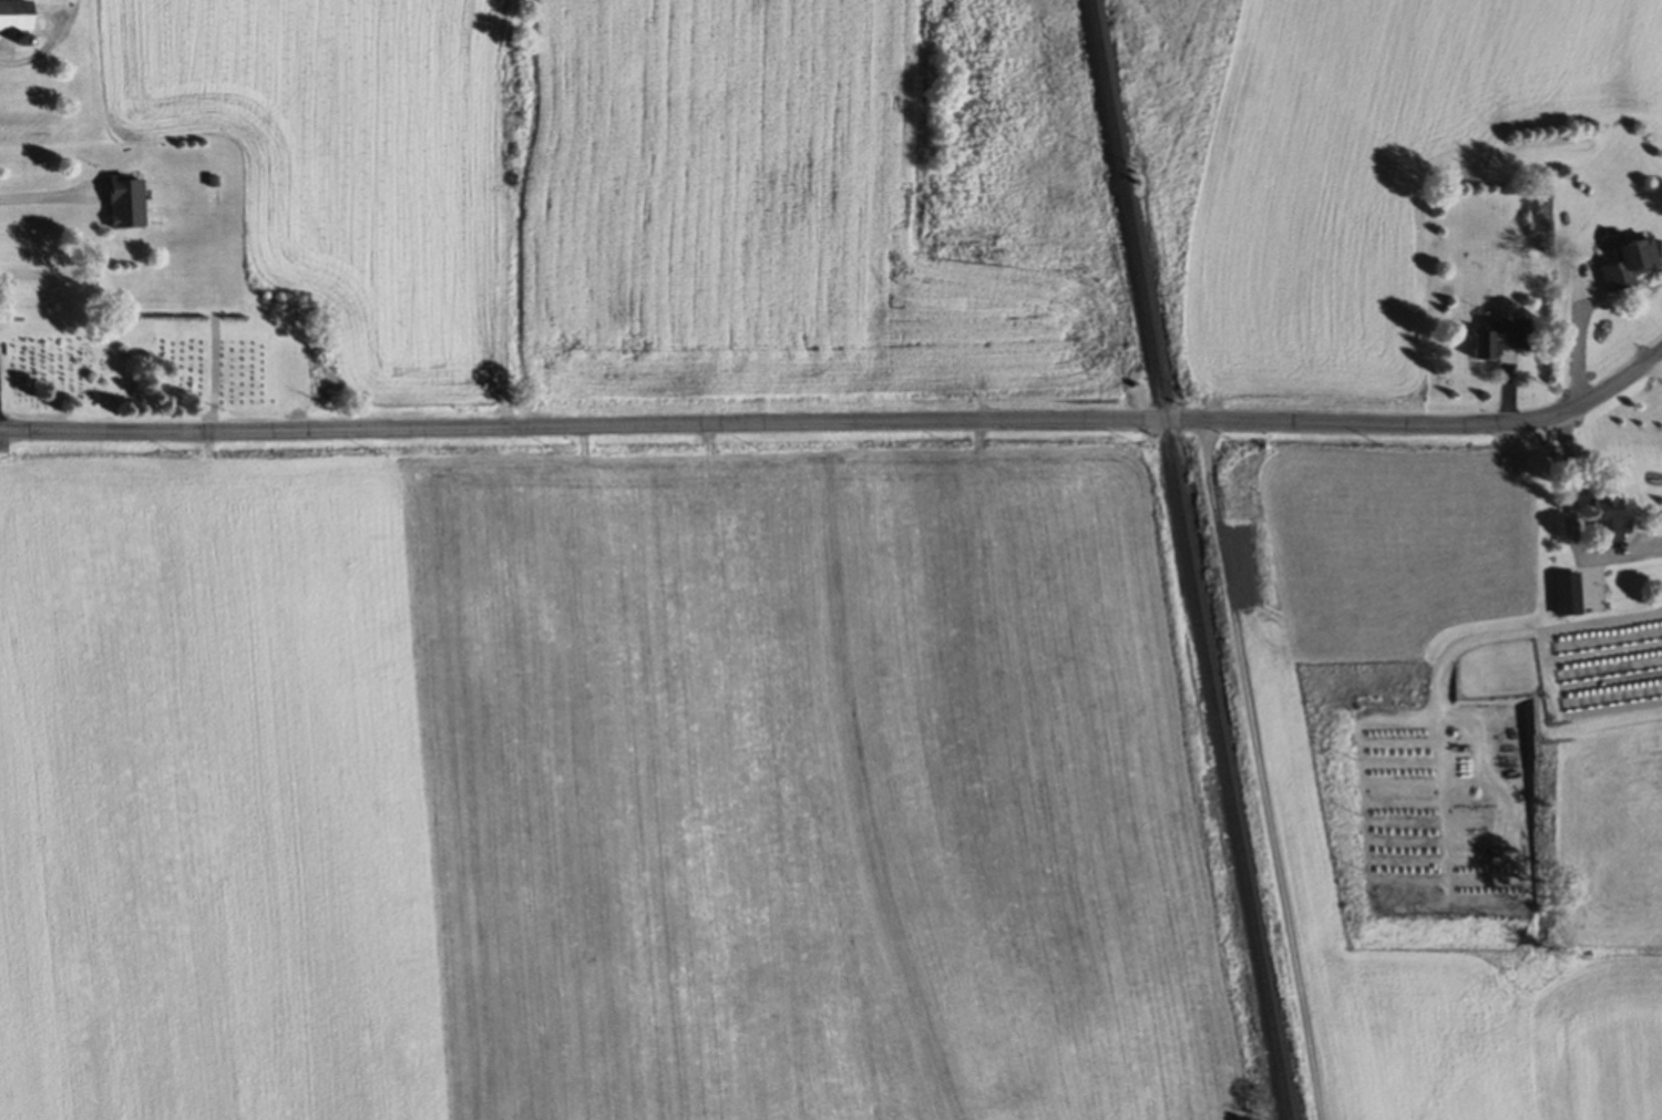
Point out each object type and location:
building: (12, 18)
road: (40, 199)
building: (121, 203)
building: (1628, 265)
building: (1494, 340)
road: (840, 423)
building: (1605, 523)
road: (1570, 525)
railway: (1192, 561)
building: (1563, 596)
road: (1262, 771)

